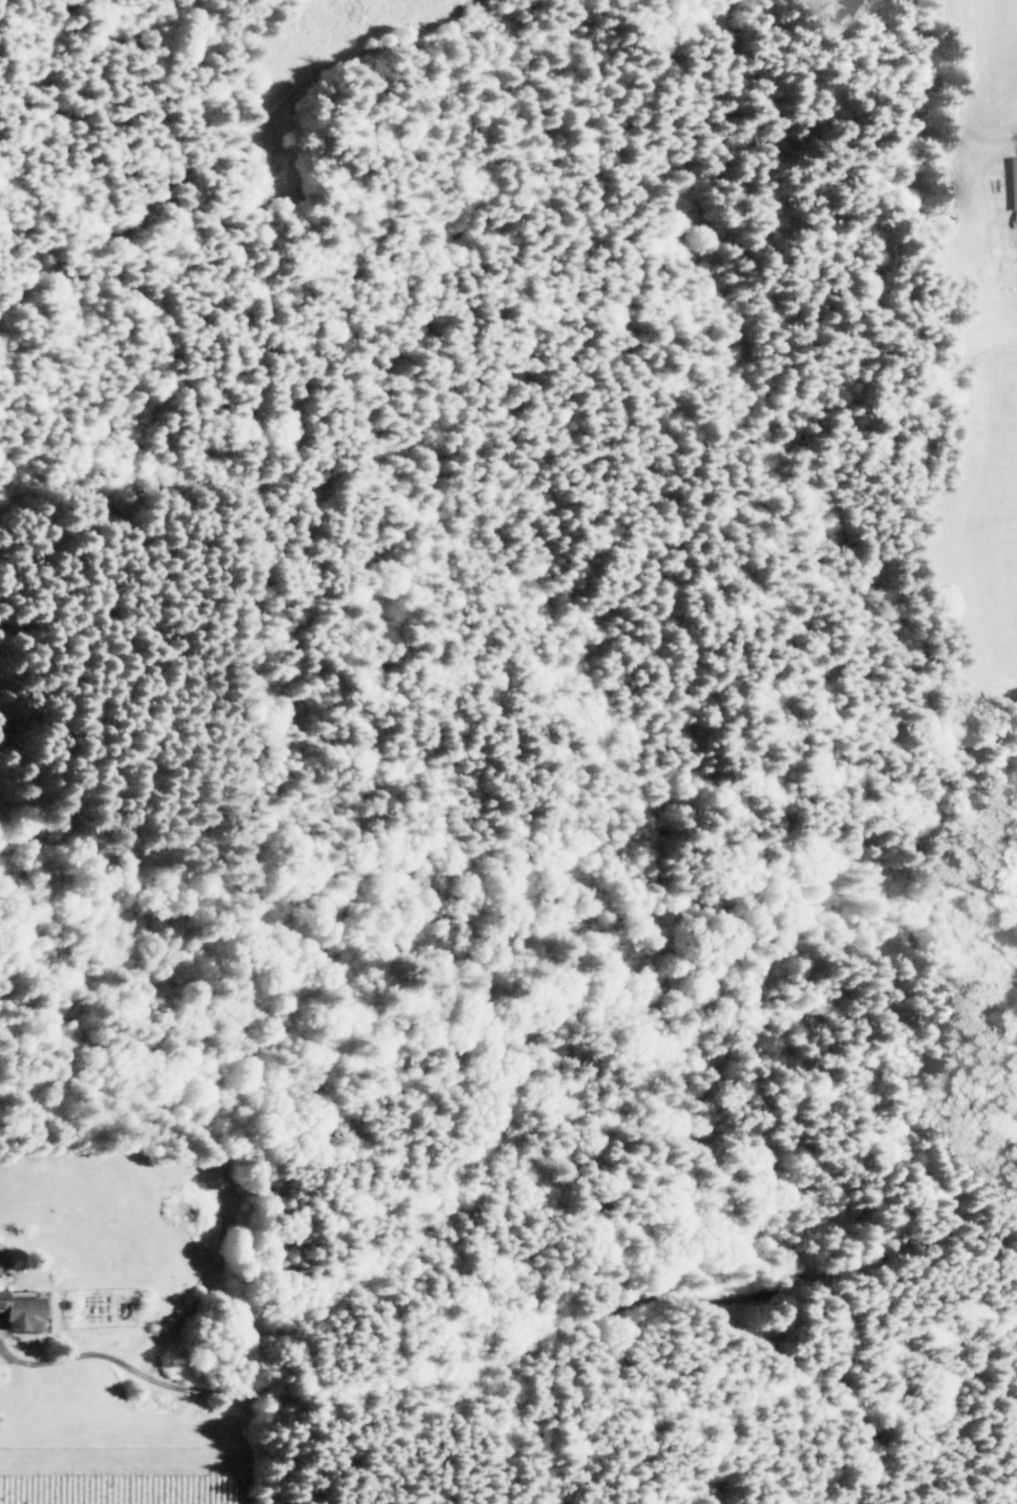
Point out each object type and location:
building: (1016, 222)
road: (515, 1347)

